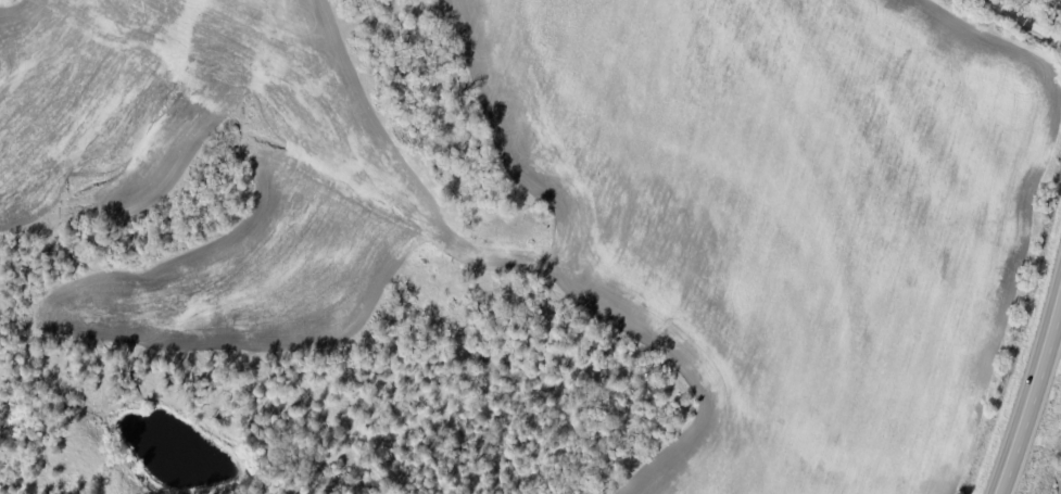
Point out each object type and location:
road: (1019, 23)
road: (1033, 401)
road: (866, 487)

